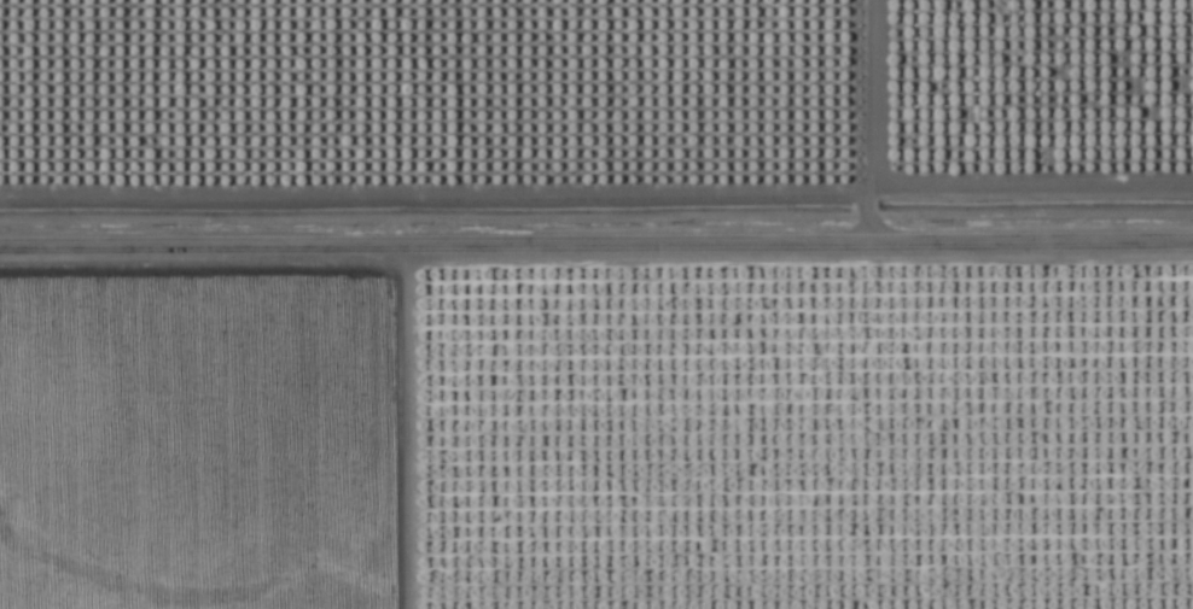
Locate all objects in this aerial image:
building: (291, 31)
building: (904, 86)
road: (596, 235)
crop: (596, 304)

